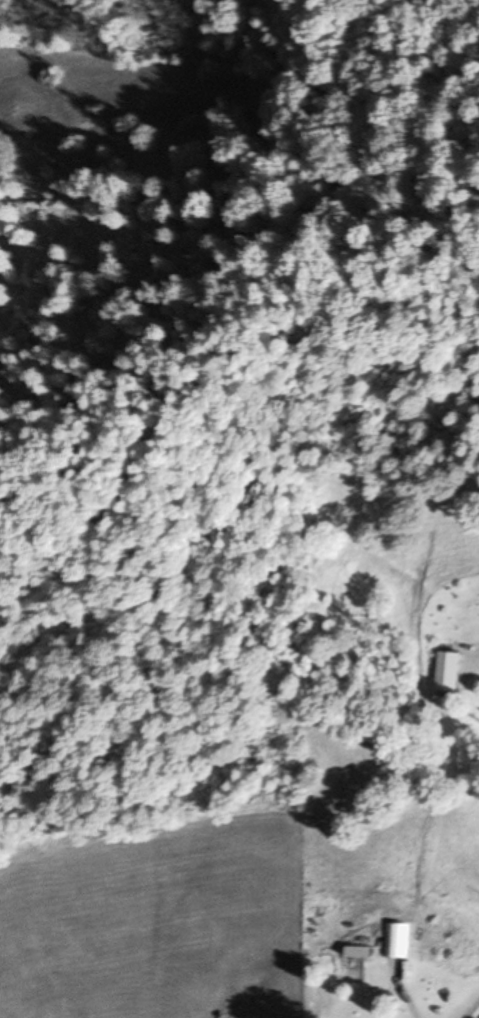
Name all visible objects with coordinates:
building: (453, 671)
building: (361, 951)
road: (471, 1009)

